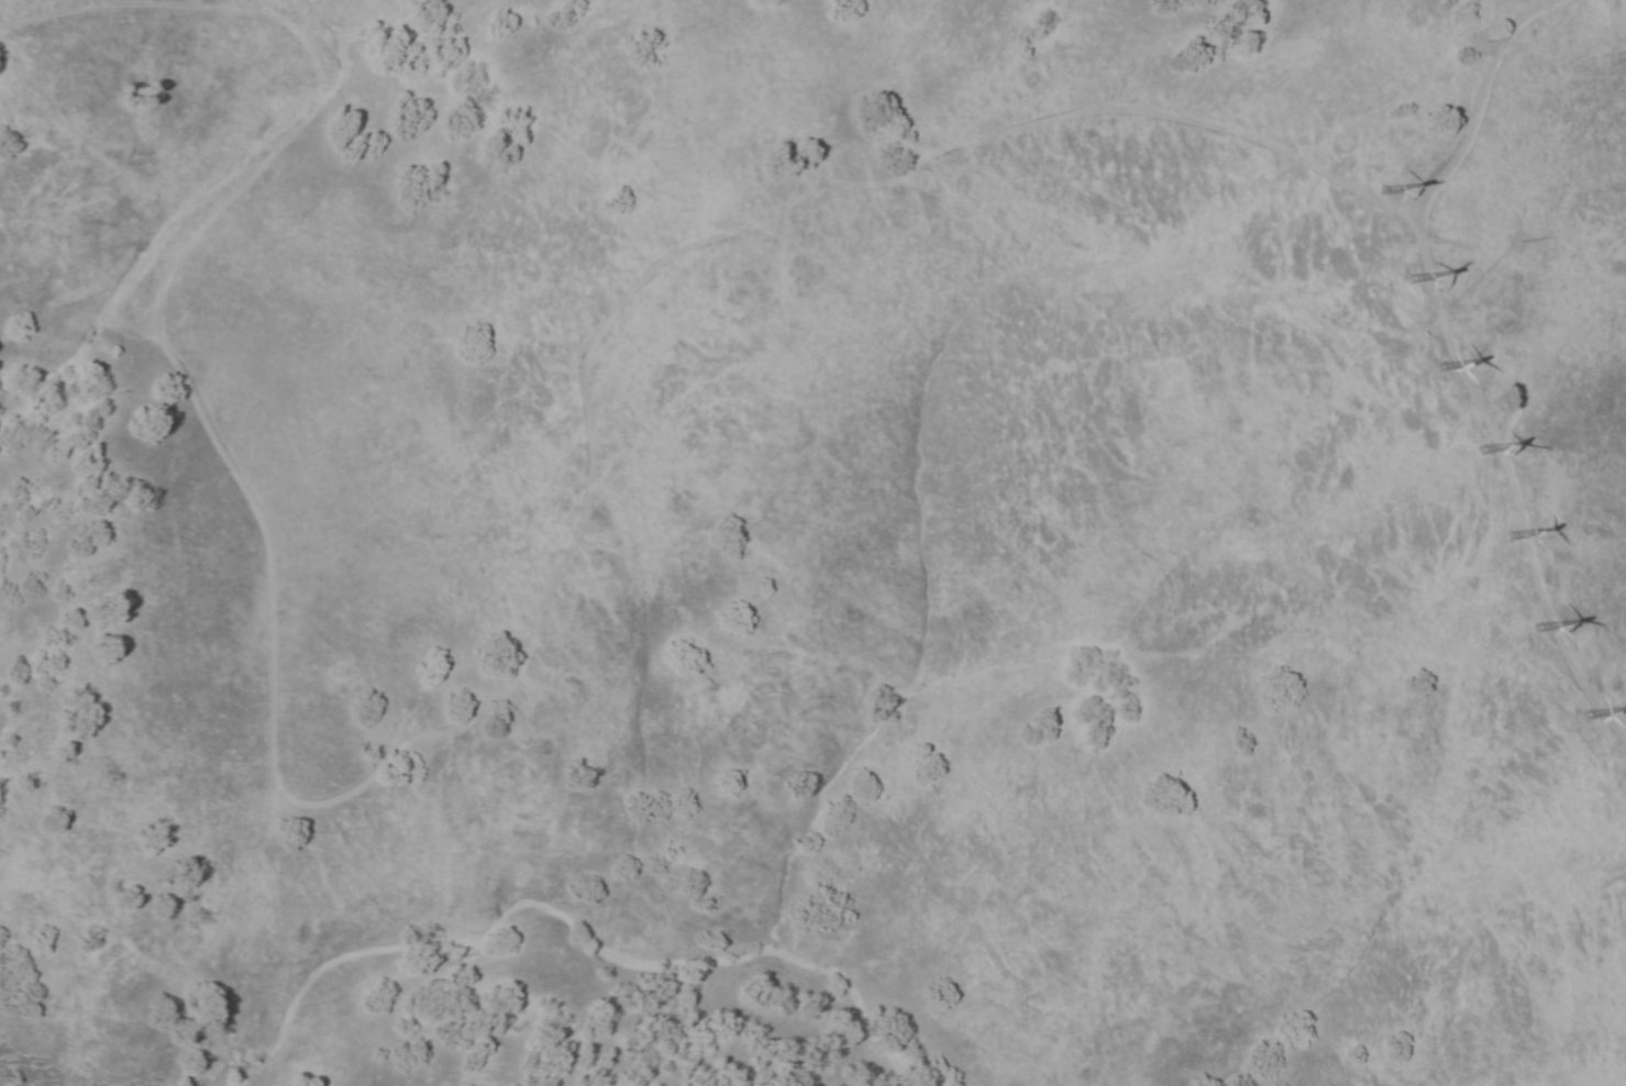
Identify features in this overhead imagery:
road: (1478, 100)
wind turbine: (1391, 184)
road: (1475, 281)
wind turbine: (1412, 284)
wind turbine: (1447, 358)
wind turbine: (1484, 453)
road: (1511, 479)
wind turbine: (1506, 541)
wind turbine: (1519, 631)
wind turbine: (1579, 717)
road: (443, 731)

